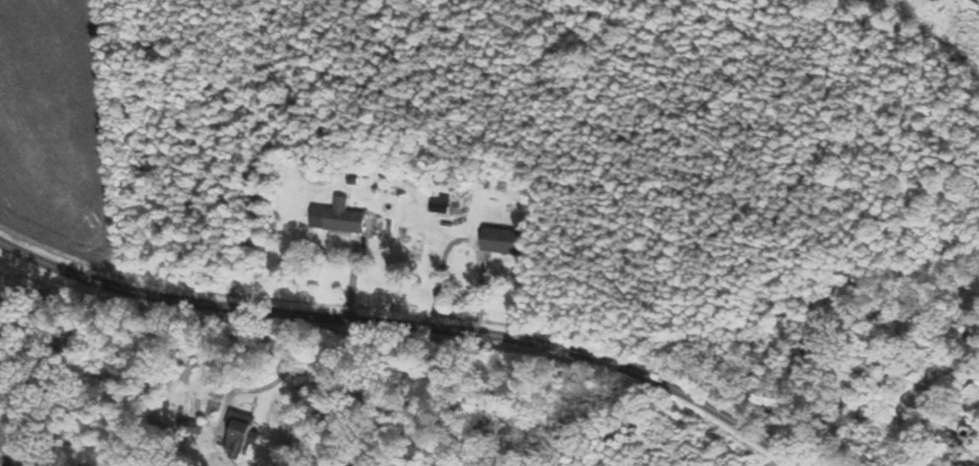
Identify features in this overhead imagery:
building: (347, 217)
building: (508, 242)
road: (407, 324)
building: (242, 433)
road: (15, 439)
building: (956, 465)

